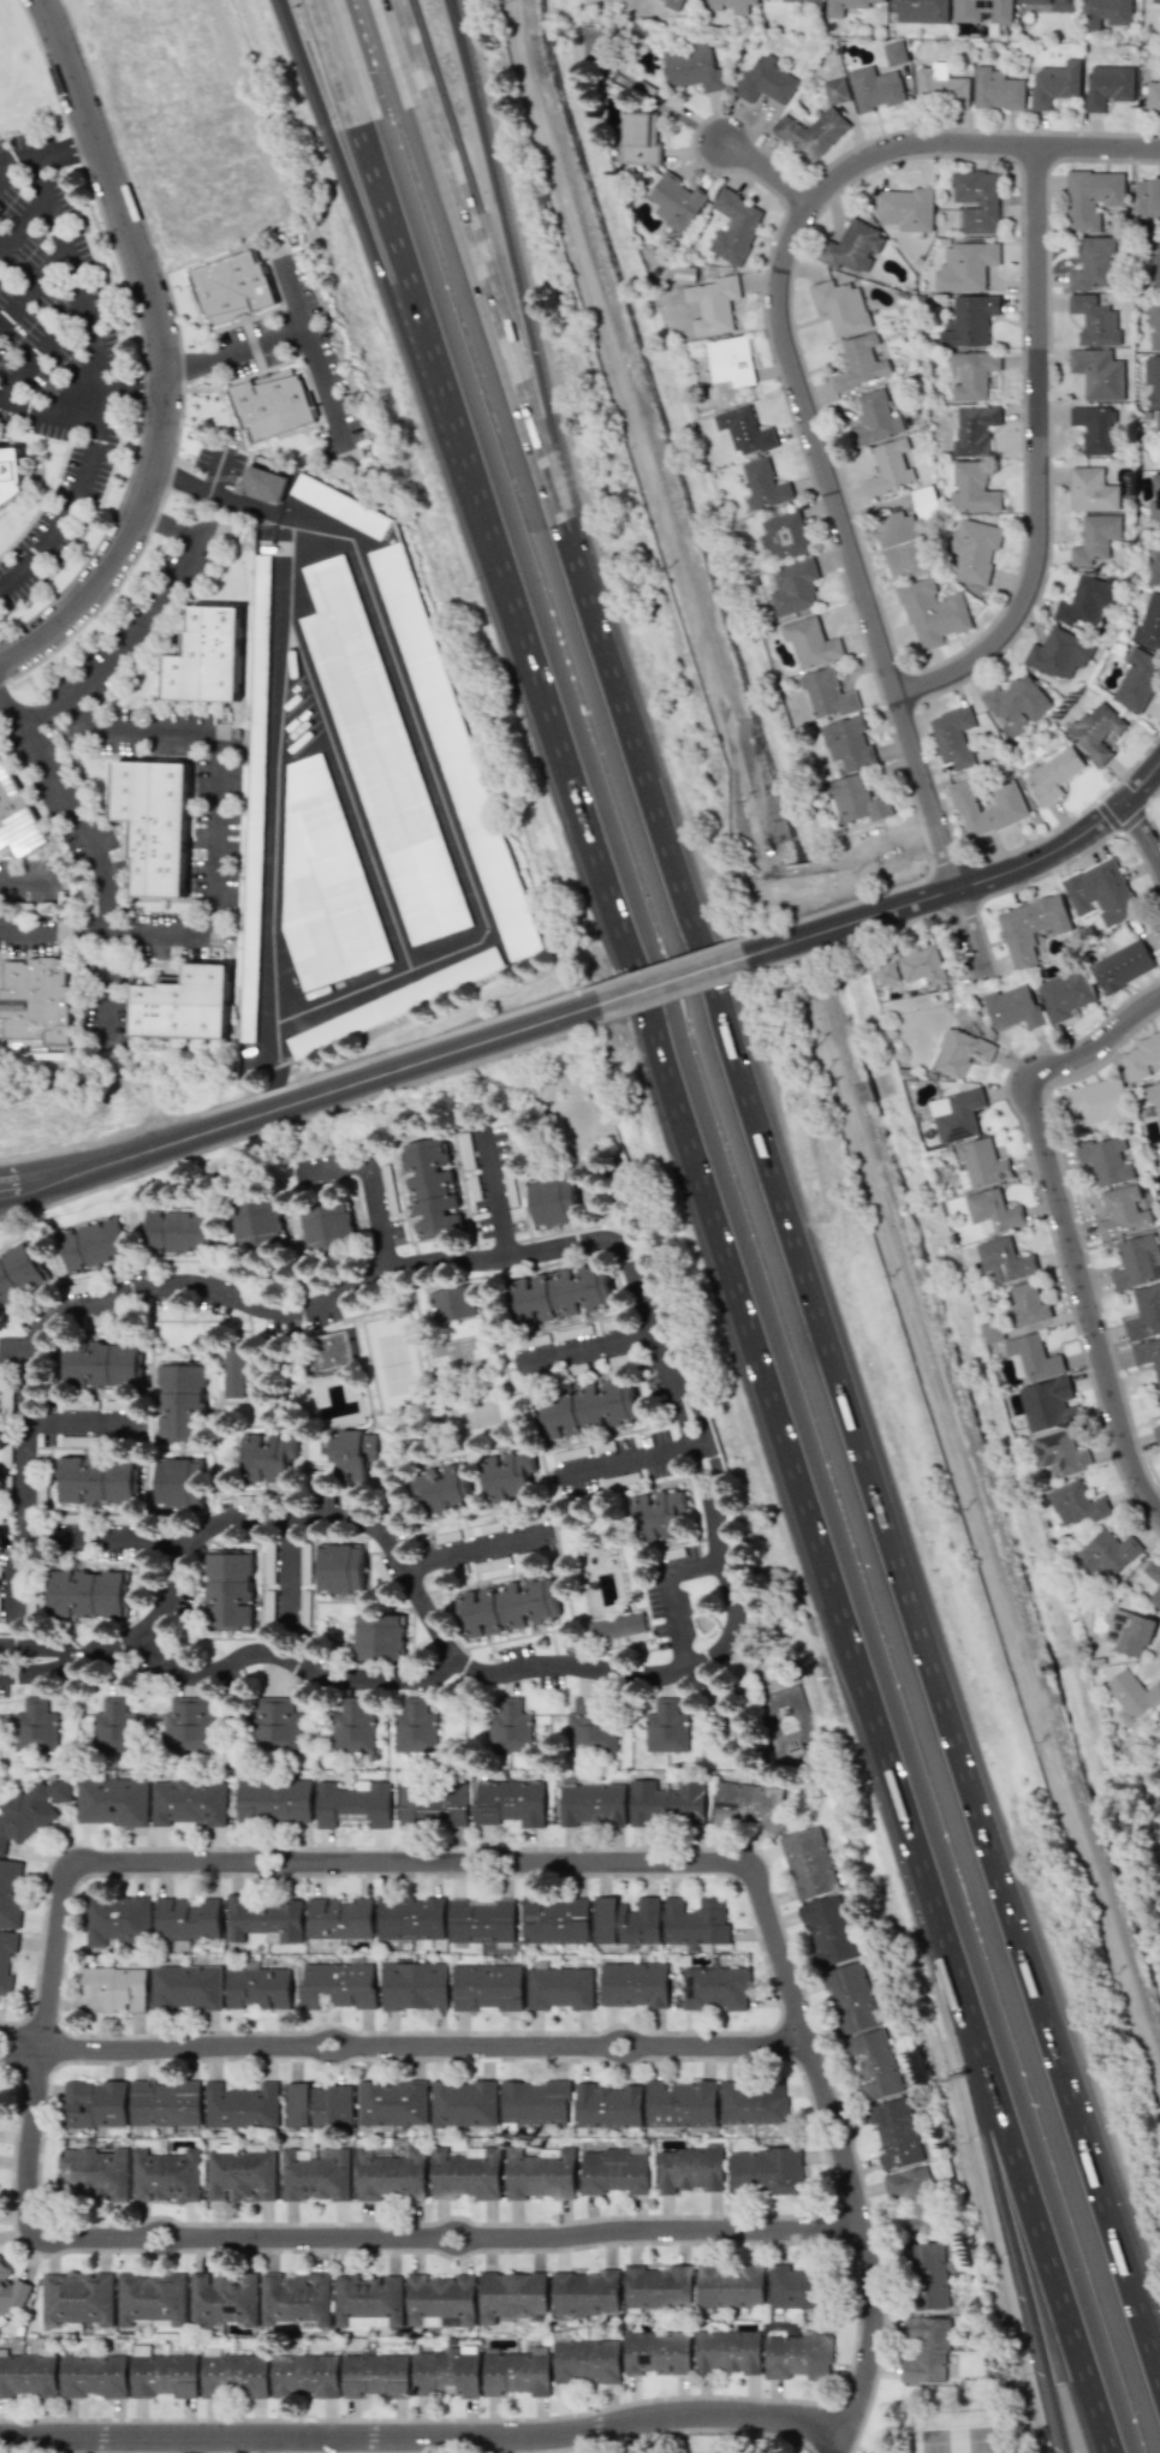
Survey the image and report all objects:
building: (801, 1)
building: (1155, 1)
building: (673, 4)
building: (1051, 5)
building: (709, 6)
building: (844, 6)
building: (981, 10)
building: (918, 11)
building: (1105, 12)
road: (457, 13)
road: (458, 13)
road: (290, 18)
building: (893, 53)
building: (691, 67)
building: (765, 81)
building: (1054, 83)
building: (940, 85)
building: (1107, 85)
building: (875, 89)
building: (997, 89)
building: (834, 90)
building: (1153, 95)
building: (811, 132)
building: (640, 138)
road: (63, 144)
road: (16, 157)
road: (5, 163)
road: (771, 169)
building: (1147, 196)
building: (1090, 197)
building: (977, 200)
building: (674, 202)
building: (904, 208)
road: (23, 225)
building: (733, 226)
building: (852, 246)
building: (1093, 263)
building: (964, 266)
building: (1154, 267)
road: (73, 270)
road: (31, 280)
building: (232, 286)
parking lot: (47, 298)
building: (712, 304)
building: (840, 306)
road: (493, 310)
building: (969, 321)
building: (1094, 321)
road: (405, 322)
road: (424, 322)
road: (528, 323)
building: (1153, 325)
road: (285, 331)
road: (137, 333)
road: (41, 345)
road: (162, 351)
parking lot: (296, 352)
building: (730, 361)
building: (859, 363)
road: (180, 365)
building: (1097, 373)
building: (971, 374)
building: (1152, 379)
road: (130, 386)
building: (270, 404)
road: (49, 411)
road: (809, 415)
building: (873, 419)
building: (1156, 421)
building: (1093, 428)
building: (974, 429)
building: (744, 430)
road: (1040, 458)
building: (888, 468)
building: (11, 477)
building: (262, 484)
building: (763, 484)
building: (971, 488)
building: (1091, 489)
road: (72, 498)
building: (1154, 499)
building: (924, 502)
building: (340, 505)
parking lot: (59, 516)
building: (783, 535)
building: (1094, 538)
building: (900, 544)
building: (972, 549)
building: (1154, 567)
building: (792, 587)
road: (160, 599)
building: (1084, 602)
building: (932, 613)
building: (1148, 624)
building: (810, 642)
building: (1058, 655)
building: (206, 657)
building: (1136, 680)
building: (826, 693)
road: (878, 697)
building: (1017, 701)
road: (48, 710)
road: (279, 722)
building: (1095, 731)
building: (953, 737)
building: (846, 742)
road: (422, 744)
building: (454, 751)
building: (380, 755)
building: (1052, 775)
road: (347, 796)
building: (255, 797)
building: (855, 800)
building: (1005, 806)
building: (16, 817)
building: (154, 823)
road: (1144, 829)
road: (97, 852)
road: (215, 858)
road: (982, 880)
building: (325, 886)
building: (1100, 892)
building: (1030, 927)
building: (922, 965)
building: (1122, 965)
building: (885, 972)
road: (272, 976)
road: (684, 978)
building: (1065, 994)
building: (35, 1000)
building: (393, 1002)
building: (184, 1005)
building: (1012, 1007)
building: (959, 1052)
building: (1141, 1056)
building: (1154, 1097)
road: (295, 1102)
building: (1097, 1102)
building: (956, 1114)
building: (1106, 1160)
building: (980, 1163)
road: (367, 1179)
building: (429, 1187)
road: (493, 1192)
building: (552, 1199)
building: (992, 1210)
building: (1122, 1213)
road: (1063, 1220)
building: (256, 1222)
building: (327, 1226)
building: (176, 1232)
building: (91, 1245)
building: (1004, 1260)
building: (1136, 1262)
building: (216, 1273)
building: (19, 1274)
building: (561, 1292)
building: (452, 1303)
building: (1025, 1304)
building: (1144, 1312)
road: (744, 1324)
building: (991, 1332)
road: (826, 1338)
building: (334, 1350)
building: (469, 1351)
road: (581, 1351)
building: (1148, 1356)
building: (1031, 1357)
building: (102, 1364)
building: (232, 1368)
building: (180, 1401)
building: (1159, 1401)
building: (1047, 1404)
building: (587, 1407)
road: (78, 1423)
building: (1156, 1434)
road: (24, 1439)
building: (369, 1446)
building: (603, 1446)
building: (1058, 1453)
building: (346, 1455)
building: (267, 1458)
road: (630, 1463)
building: (504, 1476)
building: (99, 1479)
building: (613, 1481)
building: (178, 1483)
building: (441, 1489)
building: (1075, 1504)
building: (659, 1514)
road: (715, 1524)
road: (101, 1537)
road: (476, 1548)
building: (1106, 1553)
road: (286, 1567)
building: (339, 1568)
road: (14, 1574)
building: (227, 1590)
building: (1155, 1591)
building: (89, 1594)
road: (671, 1596)
building: (506, 1607)
building: (615, 1627)
building: (1129, 1632)
building: (379, 1637)
road: (31, 1648)
road: (67, 1655)
road: (287, 1659)
road: (32, 1668)
building: (1131, 1695)
building: (112, 1723)
building: (188, 1723)
building: (274, 1725)
building: (415, 1725)
building: (590, 1725)
building: (35, 1726)
building: (352, 1726)
building: (666, 1726)
building: (508, 1727)
building: (274, 1800)
building: (112, 1802)
building: (189, 1802)
building: (508, 1802)
building: (353, 1803)
building: (665, 1803)
building: (432, 1804)
building: (590, 1804)
building: (748, 1805)
building: (30, 1810)
road: (409, 1860)
building: (808, 1862)
building: (10, 1892)
building: (186, 1918)
building: (264, 1918)
building: (340, 1918)
building: (410, 1918)
building: (115, 1921)
building: (481, 1921)
building: (555, 1921)
building: (625, 1921)
building: (695, 1923)
building: (828, 1930)
building: (6, 1961)
building: (633, 1984)
building: (338, 1985)
building: (415, 1985)
building: (185, 1987)
building: (487, 1987)
building: (714, 1987)
building: (112, 1988)
building: (257, 1988)
building: (559, 1988)
building: (861, 2031)
road: (20, 2035)
road: (423, 2047)
road: (19, 2050)
building: (392, 2102)
building: (534, 2102)
building: (93, 2103)
building: (165, 2103)
building: (463, 2103)
building: (680, 2103)
building: (752, 2103)
building: (240, 2106)
building: (317, 2106)
building: (607, 2106)
building: (893, 2133)
building: (690, 2168)
building: (614, 2169)
building: (765, 2172)
building: (94, 2173)
building: (465, 2173)
building: (315, 2174)
building: (540, 2174)
building: (166, 2175)
building: (240, 2175)
building: (389, 2175)
building: (905, 2181)
road: (1108, 2189)
road: (1110, 2211)
building: (910, 2215)
road: (1013, 2228)
road: (1039, 2228)
road: (353, 2238)
road: (863, 2249)
building: (927, 2275)
building: (658, 2285)
building: (730, 2285)
building: (791, 2285)
building: (11, 2290)
building: (585, 2292)
building: (511, 2296)
building: (77, 2298)
building: (151, 2298)
building: (224, 2298)
building: (296, 2298)
building: (368, 2300)
building: (440, 2300)
building: (924, 2350)
building: (726, 2351)
building: (656, 2353)
building: (797, 2356)
building: (587, 2360)
building: (447, 2371)
building: (516, 2372)
building: (28, 2375)
building: (93, 2375)
building: (163, 2375)
building: (234, 2375)
building: (305, 2375)
building: (374, 2375)
road: (422, 2435)
road: (313, 2442)
road: (326, 2442)

